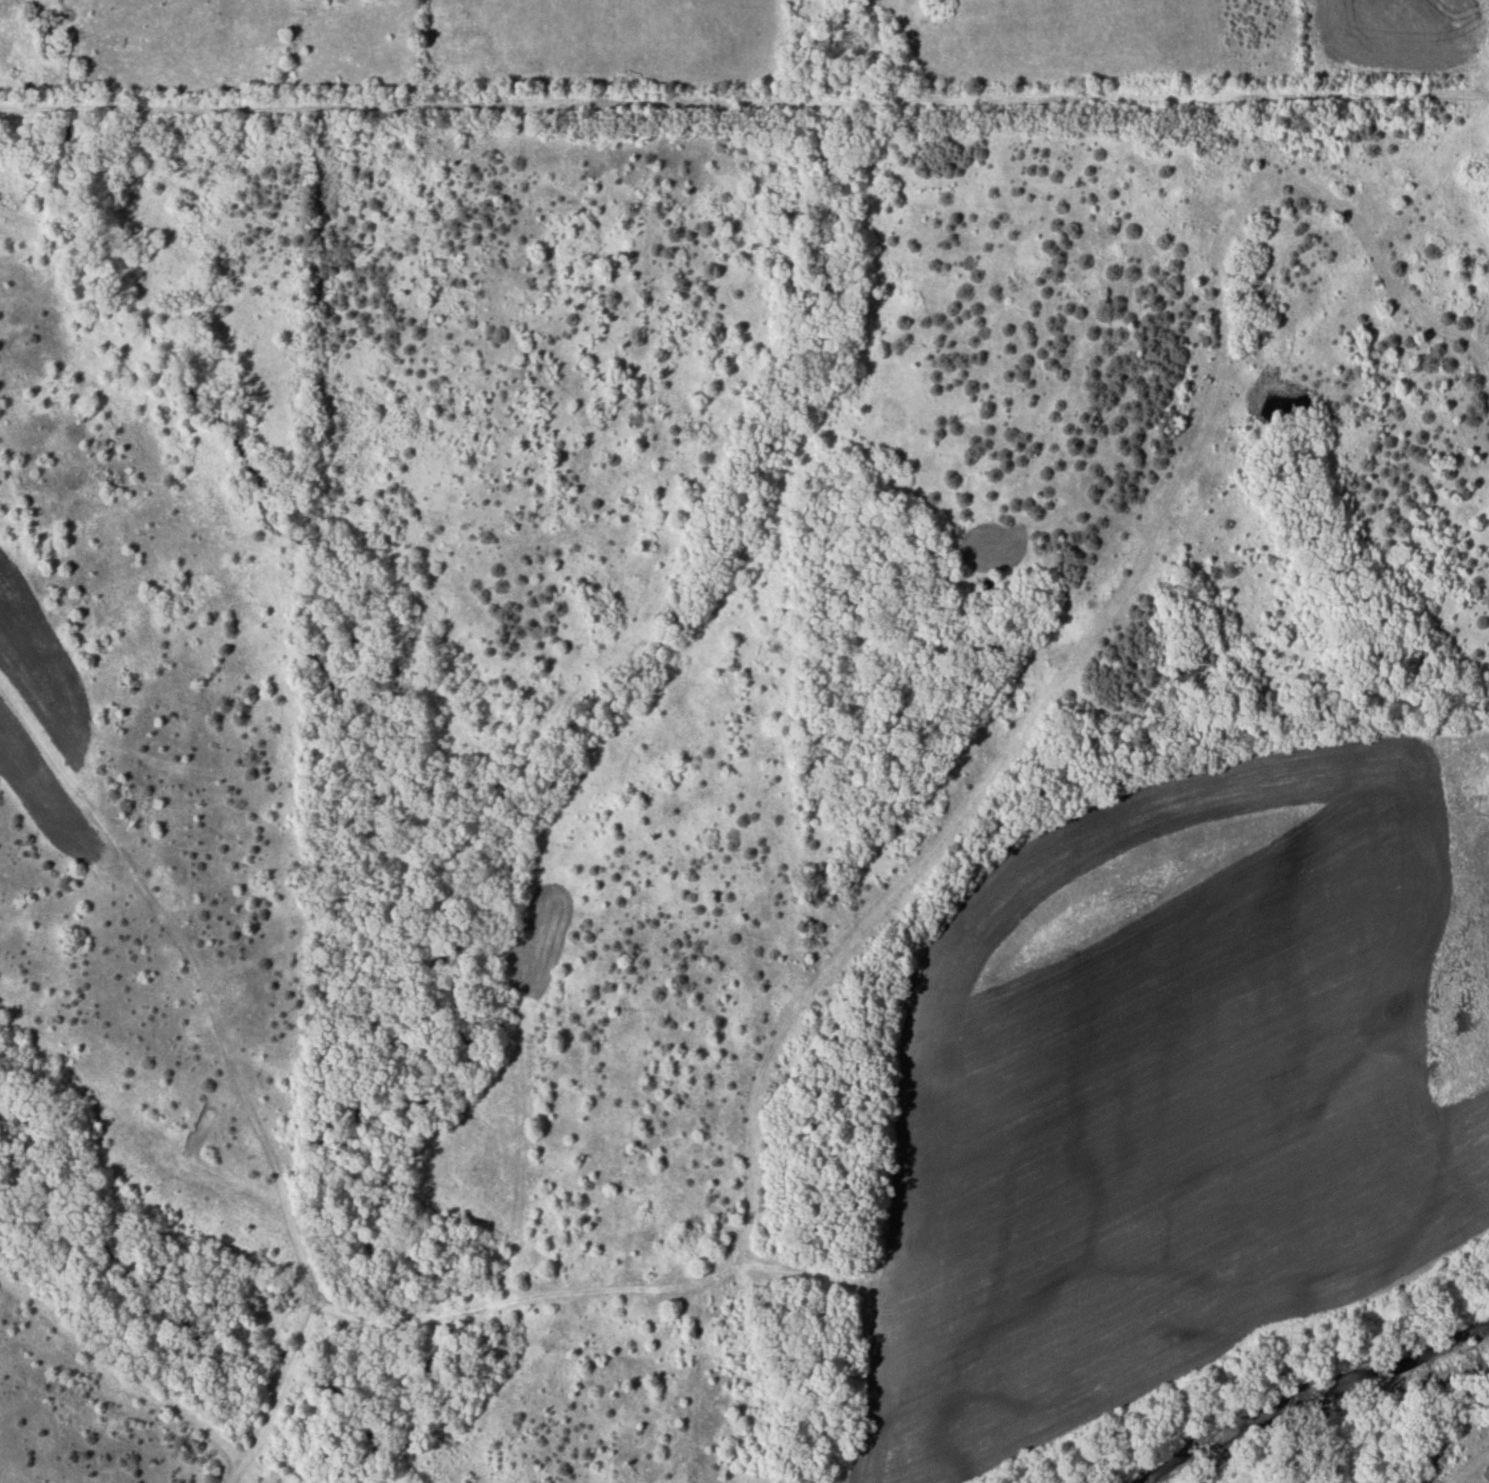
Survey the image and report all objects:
road: (744, 104)

